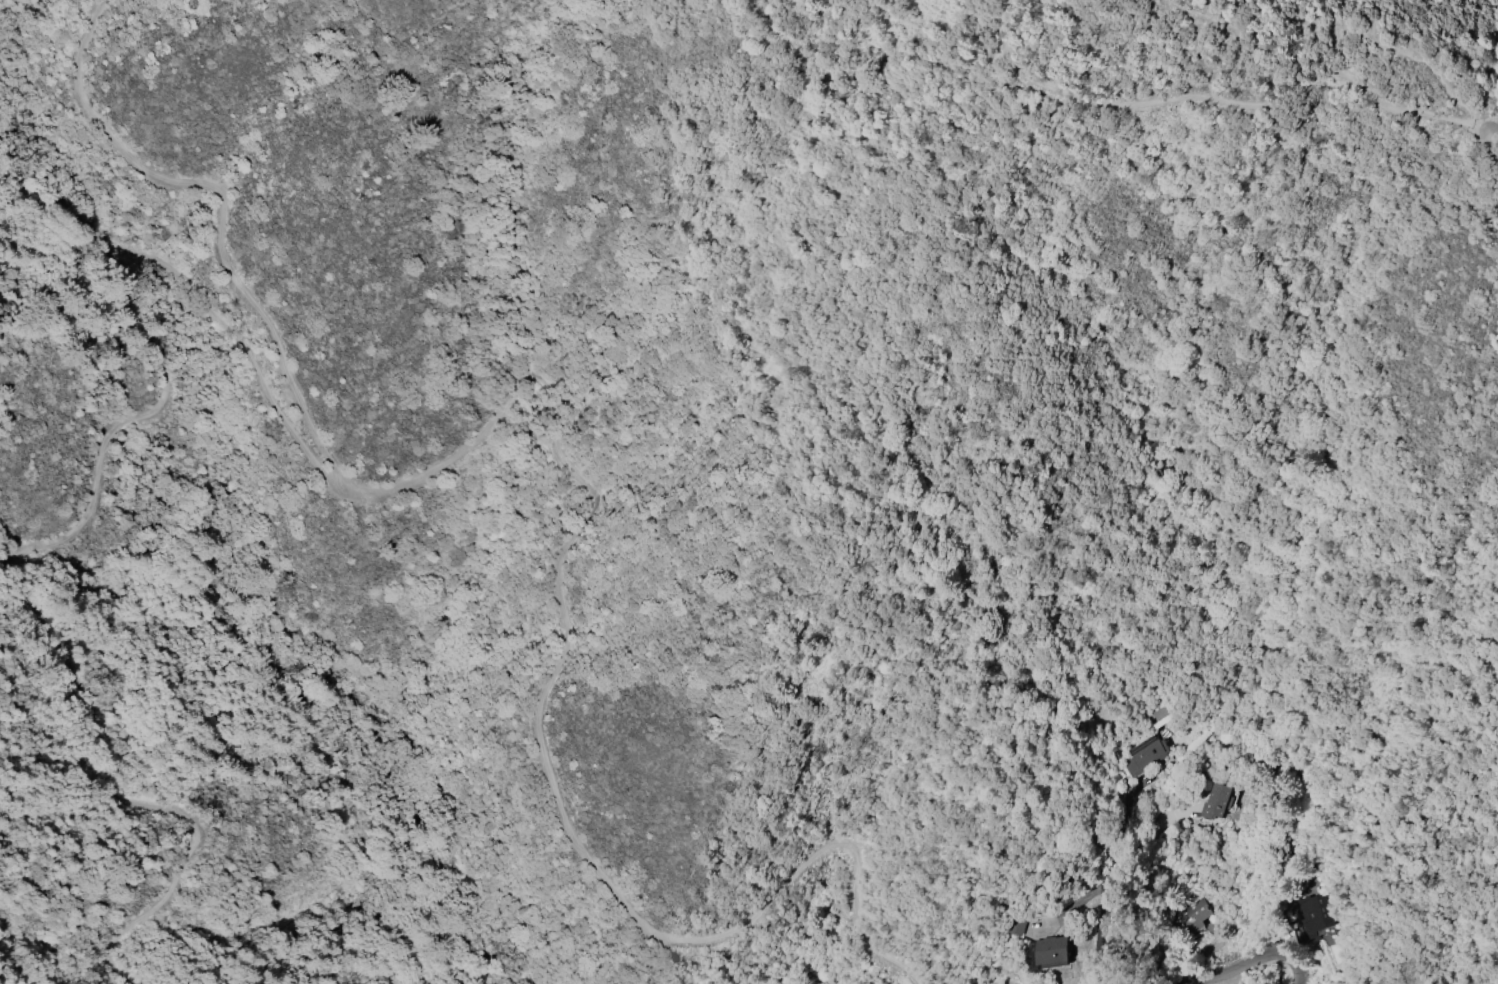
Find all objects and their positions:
road: (1331, 26)
road: (1219, 100)
road: (1482, 128)
road: (1487, 141)
road: (1487, 172)
road: (561, 458)
road: (86, 509)
building: (1154, 711)
building: (1144, 755)
road: (329, 766)
building: (1217, 801)
road: (1110, 889)
building: (1312, 912)
building: (1191, 914)
building: (1015, 927)
building: (1054, 950)
road: (1255, 957)

